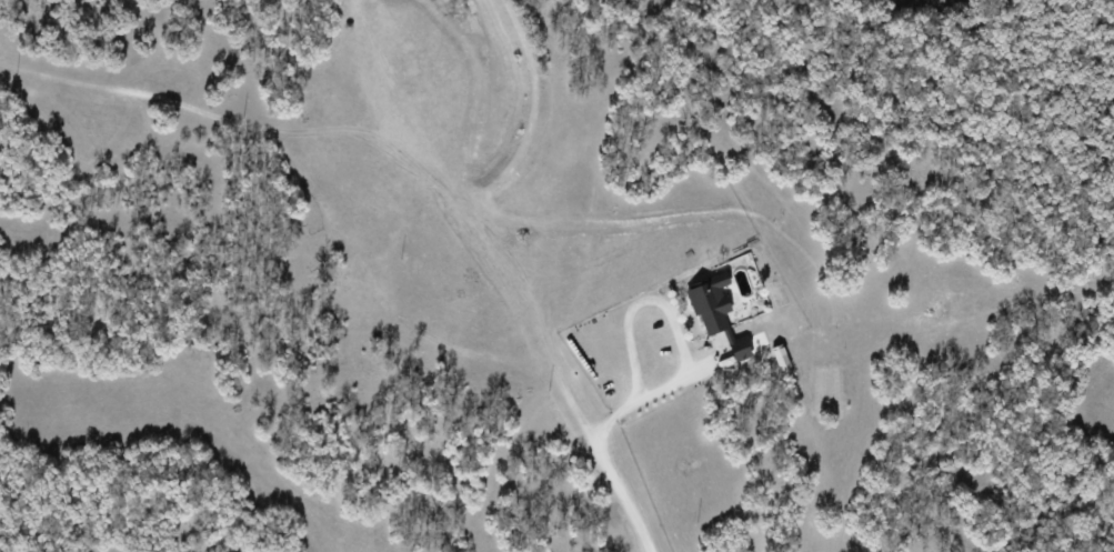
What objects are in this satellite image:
road: (659, 303)
building: (717, 319)
building: (780, 357)
road: (609, 468)

